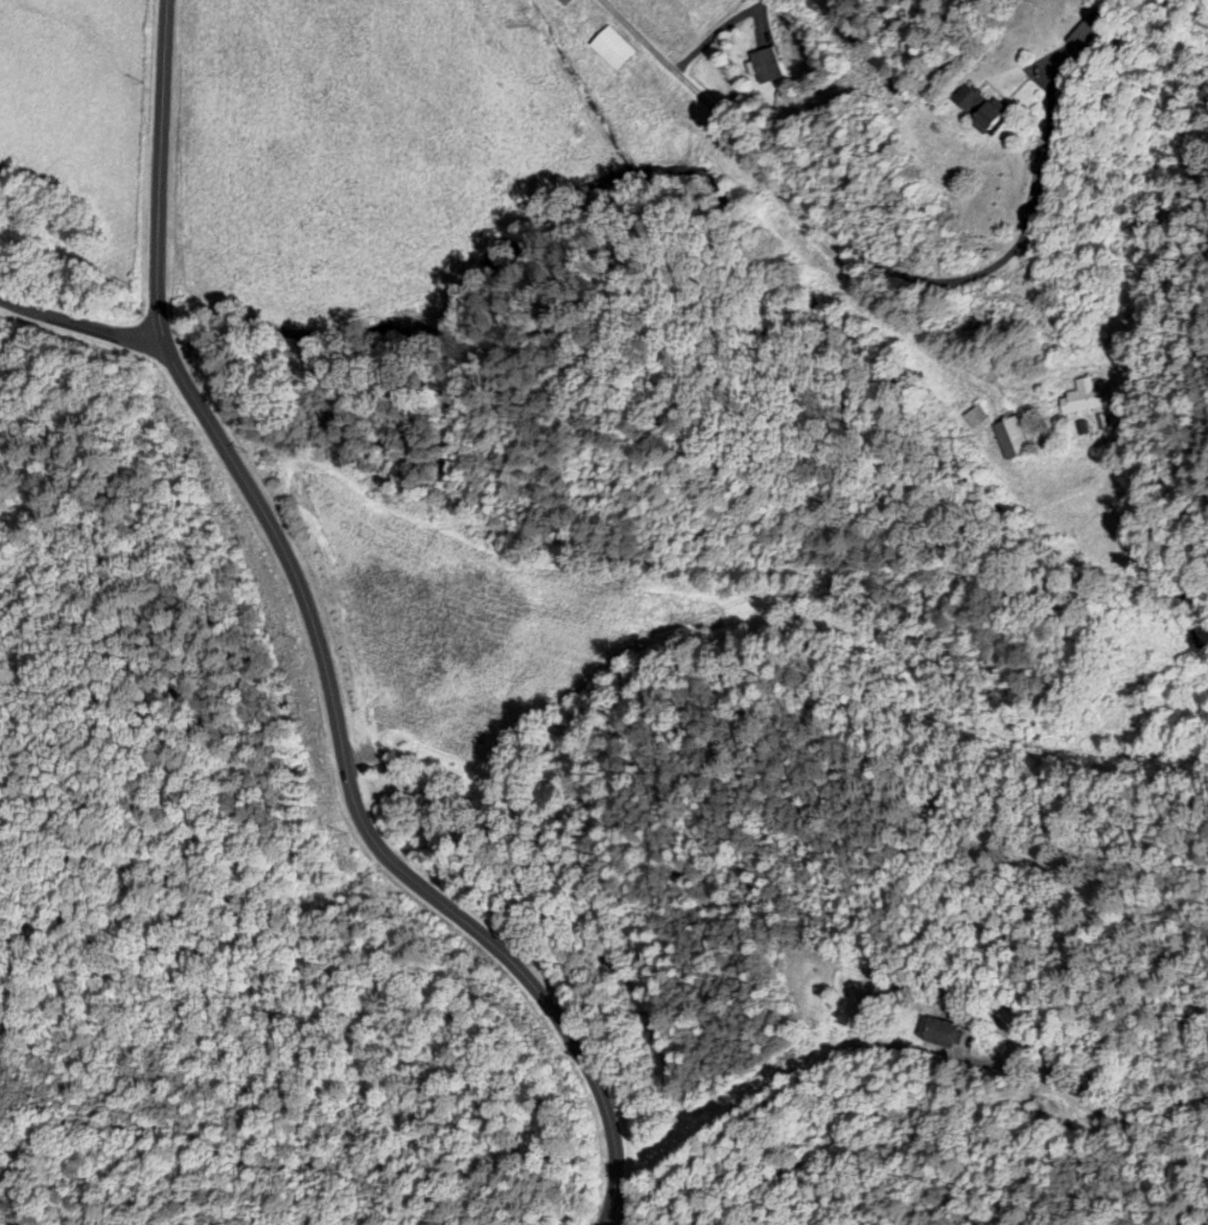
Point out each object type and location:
road: (662, 7)
building: (1083, 35)
building: (609, 49)
building: (764, 66)
building: (976, 111)
road: (817, 272)
road: (982, 276)
road: (78, 323)
building: (1081, 398)
building: (974, 417)
building: (1008, 439)
road: (309, 647)
building: (936, 1034)
road: (761, 1090)

